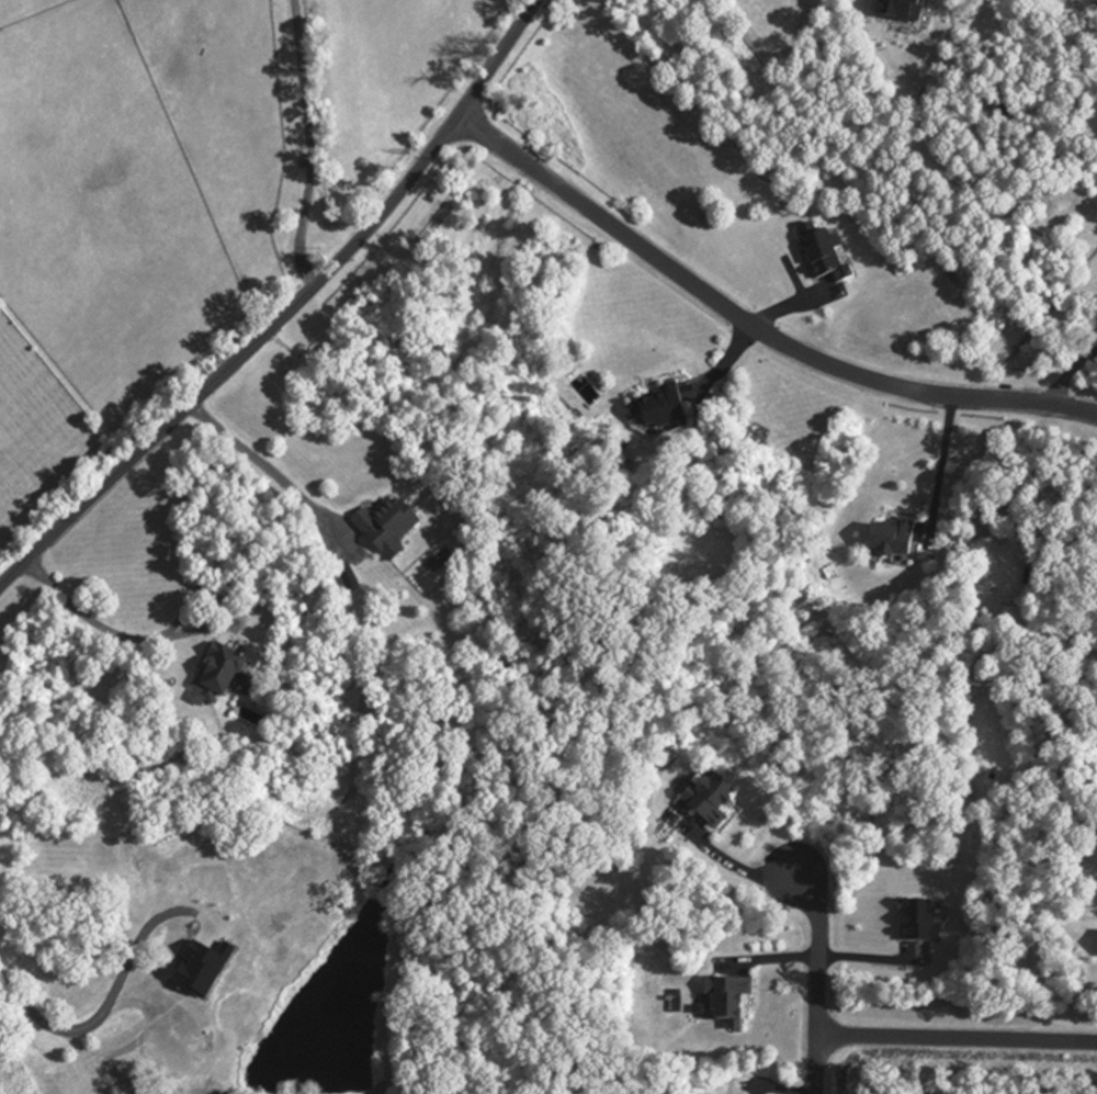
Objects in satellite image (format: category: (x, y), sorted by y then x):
road: (305, 149)
building: (821, 251)
road: (289, 312)
road: (749, 324)
road: (1070, 373)
building: (657, 410)
road: (260, 463)
road: (942, 463)
building: (384, 526)
building: (891, 537)
road: (172, 635)
building: (213, 678)
building: (705, 800)
road: (734, 864)
building: (204, 878)
building: (917, 923)
road: (872, 958)
road: (816, 971)
road: (111, 992)
building: (728, 1003)
building: (177, 1037)
road: (955, 1037)

